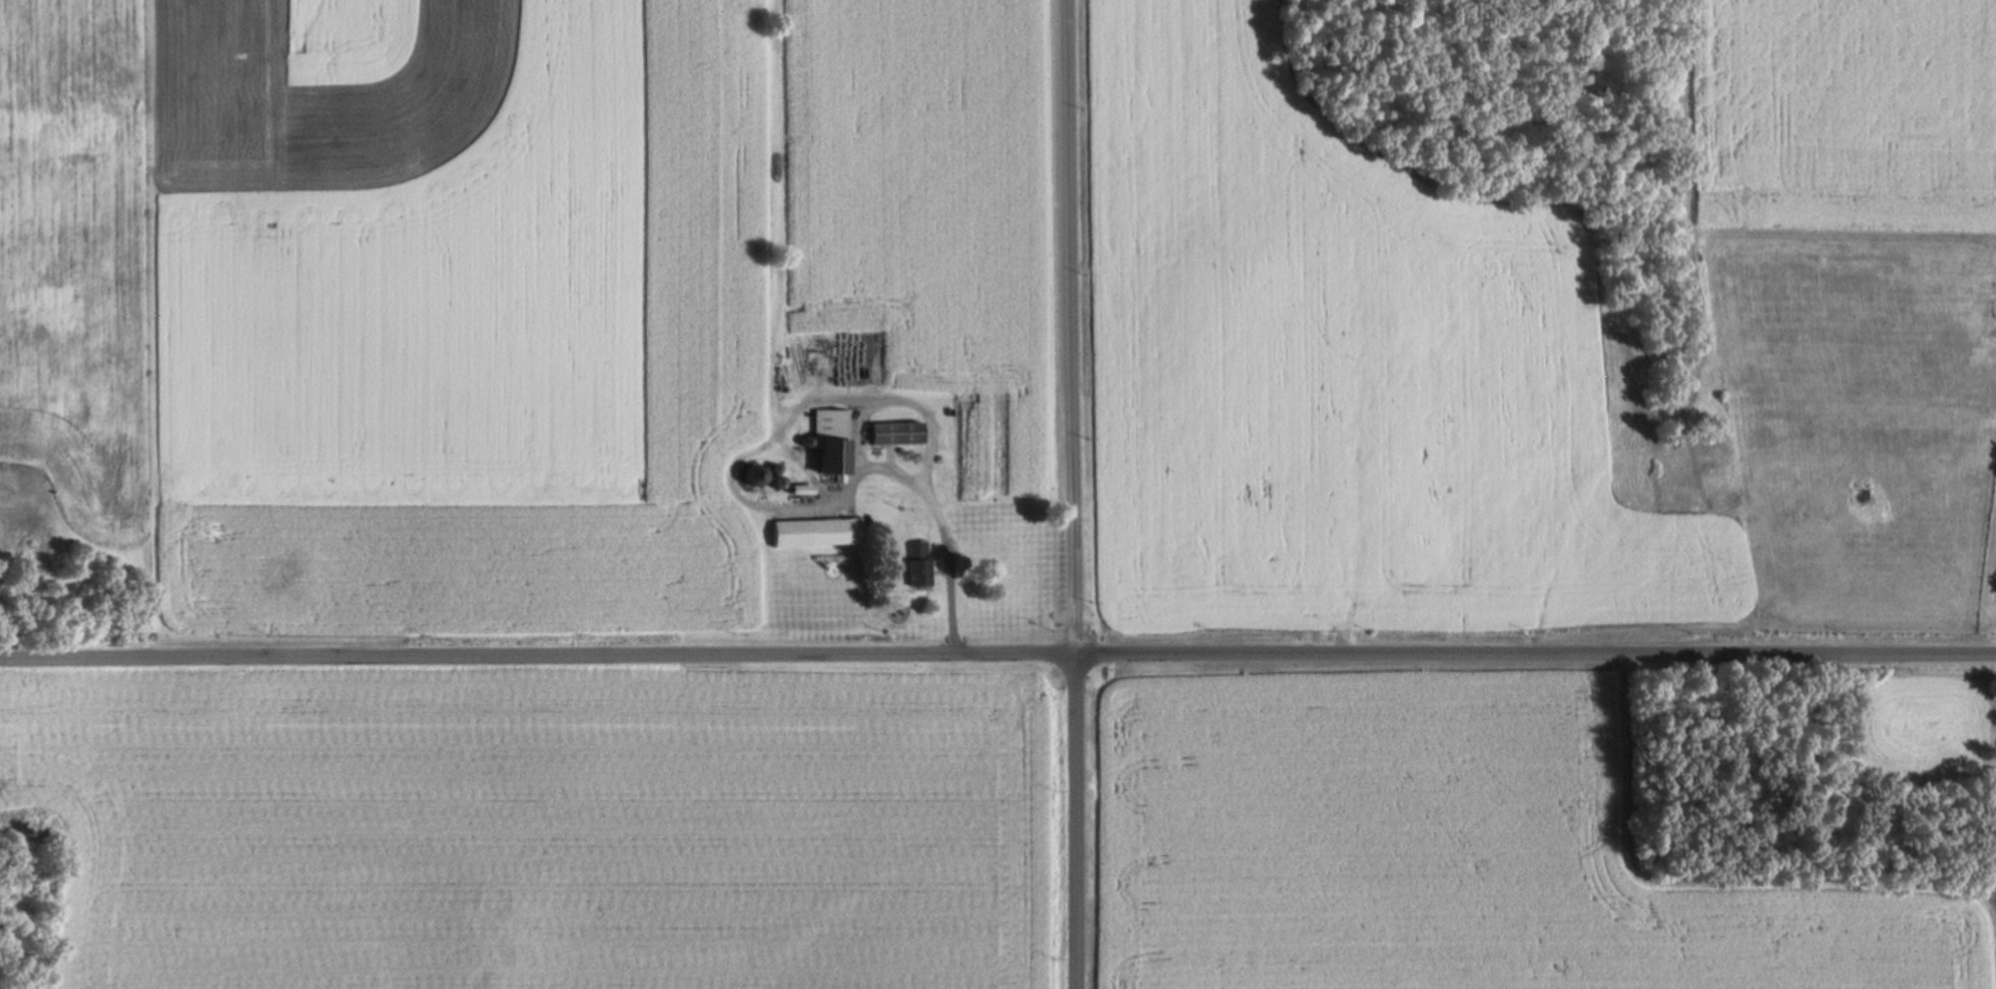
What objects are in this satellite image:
road: (909, 403)
building: (896, 432)
building: (832, 443)
road: (921, 483)
building: (802, 489)
road: (1073, 494)
building: (817, 532)
building: (918, 562)
road: (997, 653)
road: (1735, 886)

